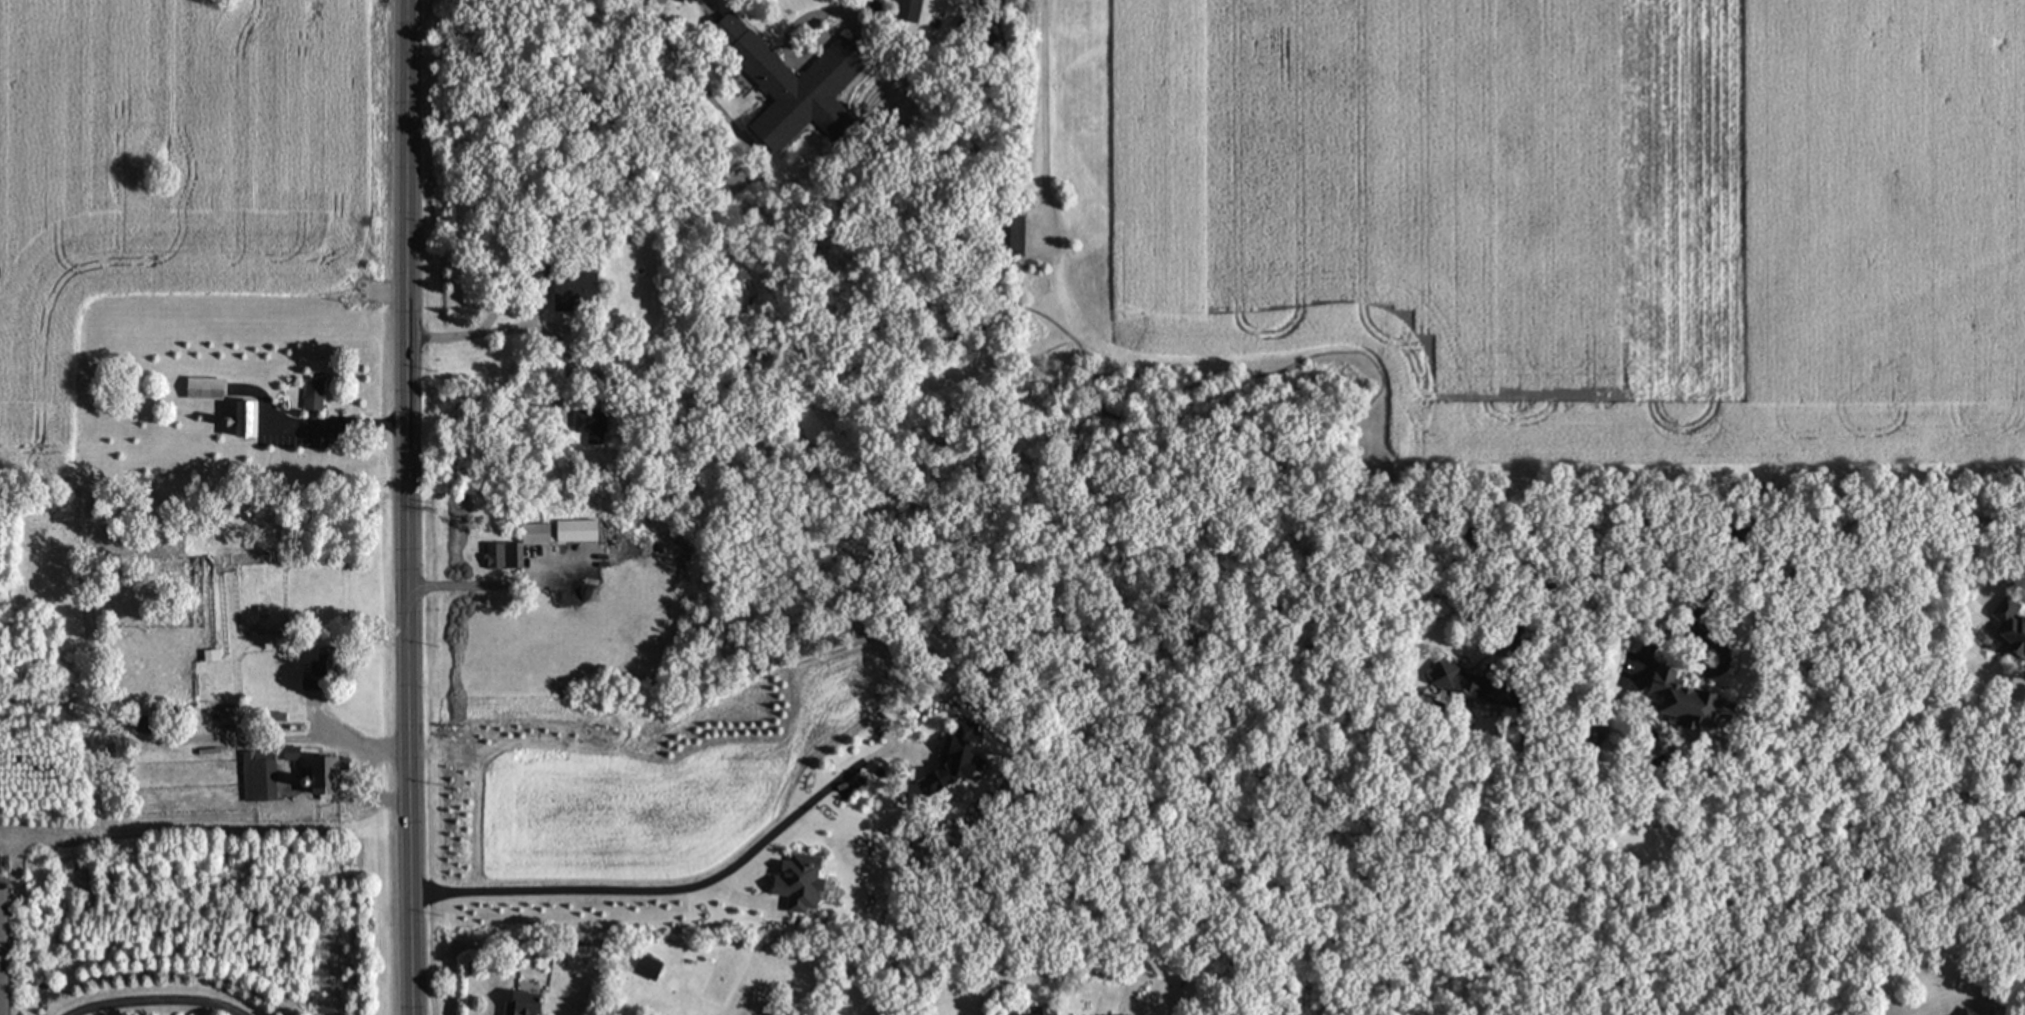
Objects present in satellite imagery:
road: (854, 5)
building: (913, 9)
road: (790, 47)
building: (798, 82)
road: (1048, 120)
building: (580, 294)
road: (489, 331)
building: (209, 387)
building: (317, 393)
building: (596, 425)
road: (317, 426)
building: (335, 446)
road: (406, 507)
road: (1775, 519)
building: (568, 531)
building: (508, 555)
building: (2010, 637)
building: (215, 654)
building: (325, 670)
building: (1462, 683)
building: (1676, 698)
building: (1587, 738)
building: (322, 771)
building: (262, 775)
road: (667, 890)
building: (9, 952)
building: (654, 966)
road: (161, 999)
road: (2003, 1001)
building: (530, 1003)
building: (1049, 1012)
building: (1961, 1014)

